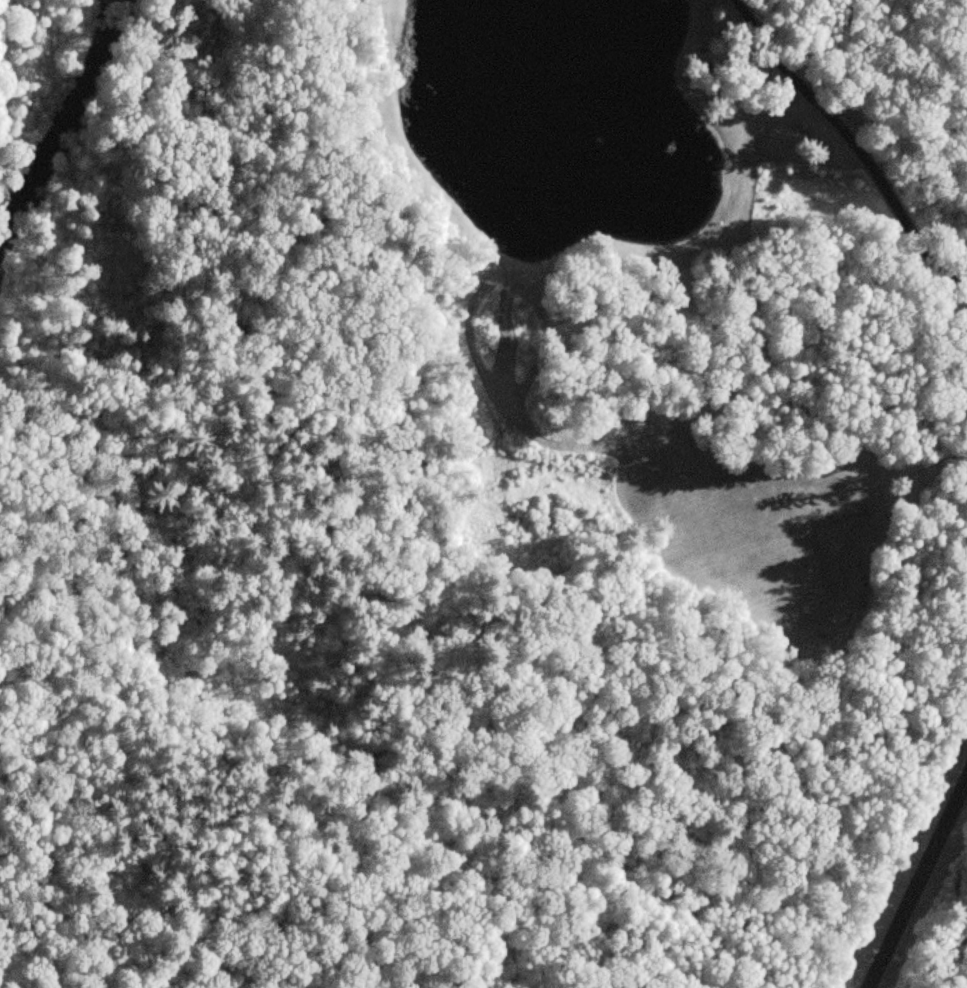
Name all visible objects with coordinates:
river: (46, 106)
road: (856, 143)
road: (913, 873)

